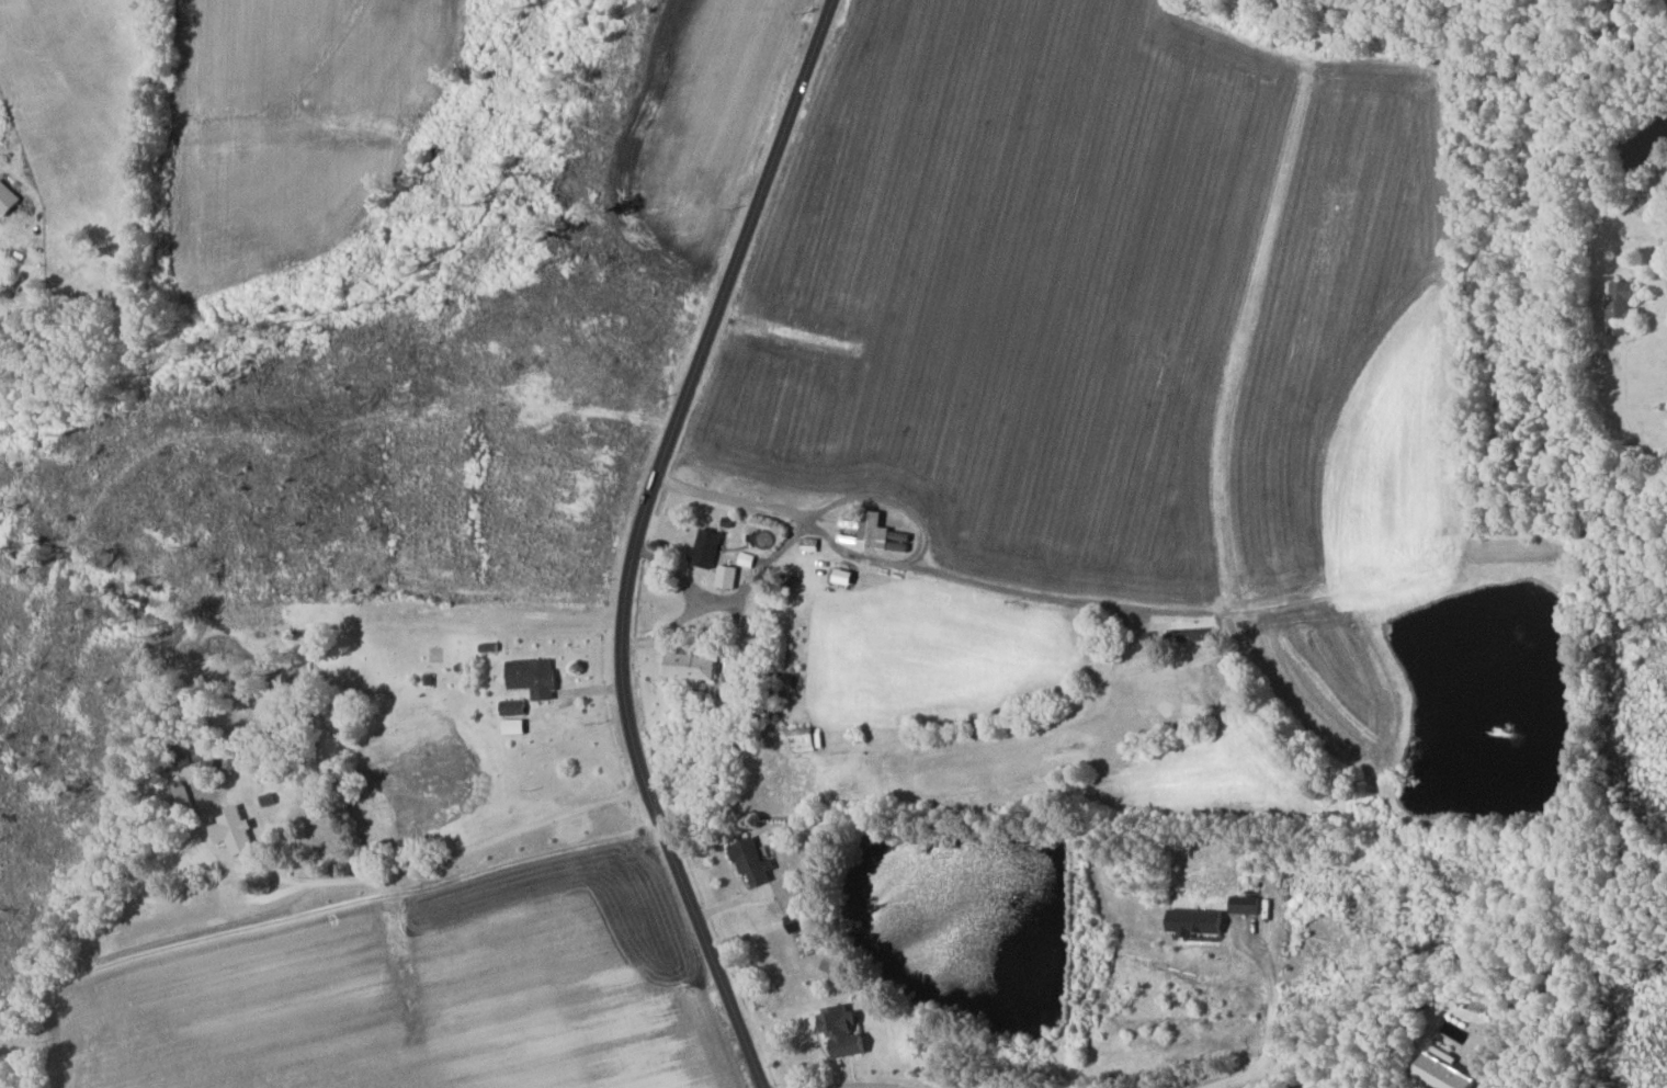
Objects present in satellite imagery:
building: (9, 199)
road: (1662, 237)
building: (1623, 301)
road: (1624, 410)
road: (887, 501)
road: (794, 513)
building: (874, 532)
road: (635, 539)
building: (810, 544)
building: (708, 547)
building: (748, 559)
building: (729, 576)
building: (846, 576)
road: (1005, 587)
road: (705, 604)
building: (1194, 635)
building: (690, 666)
building: (536, 677)
building: (515, 707)
building: (517, 726)
building: (804, 737)
building: (216, 753)
building: (238, 831)
building: (753, 861)
road: (273, 876)
road: (313, 892)
building: (1246, 904)
building: (797, 920)
building: (1198, 921)
road: (1273, 993)
building: (844, 1030)
building: (1449, 1070)
road: (1280, 1077)
road: (1229, 1079)
road: (1236, 1083)
road: (1485, 1087)

